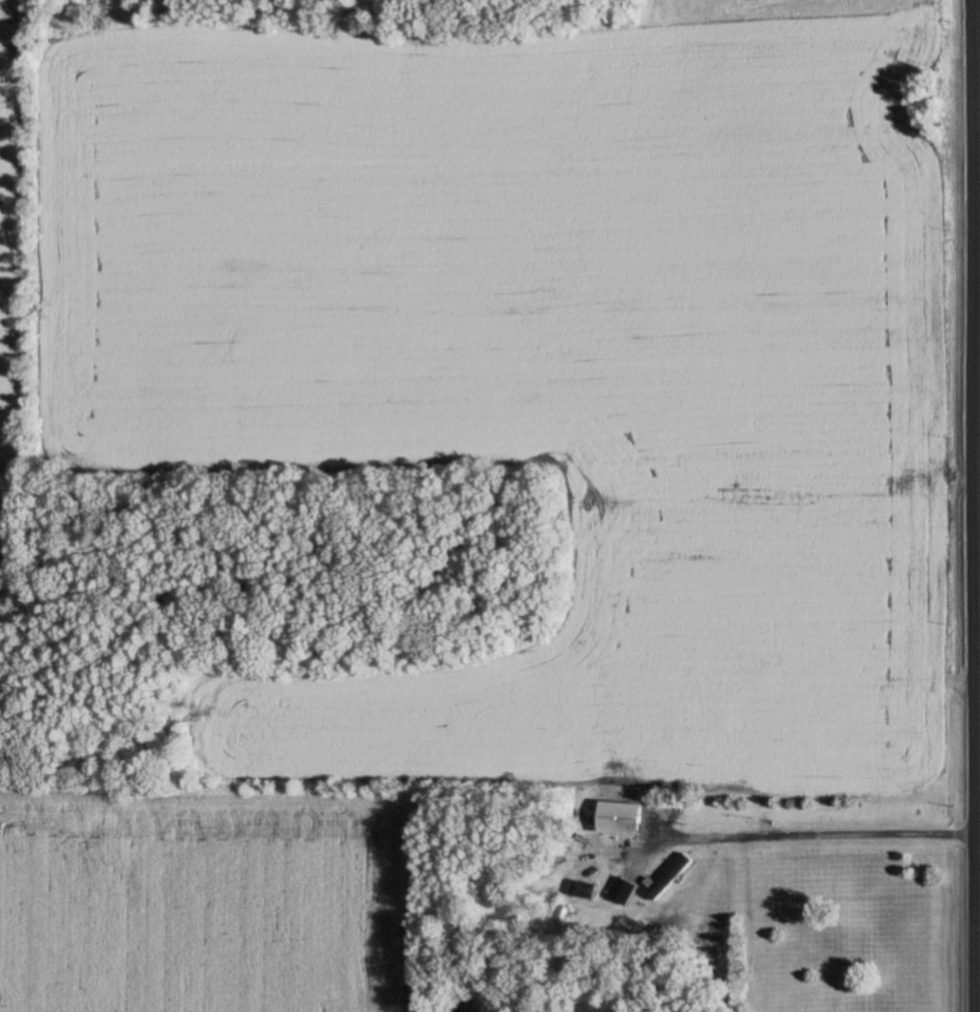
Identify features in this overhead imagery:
road: (967, 506)
building: (618, 820)
building: (669, 876)
building: (585, 892)
building: (621, 892)

